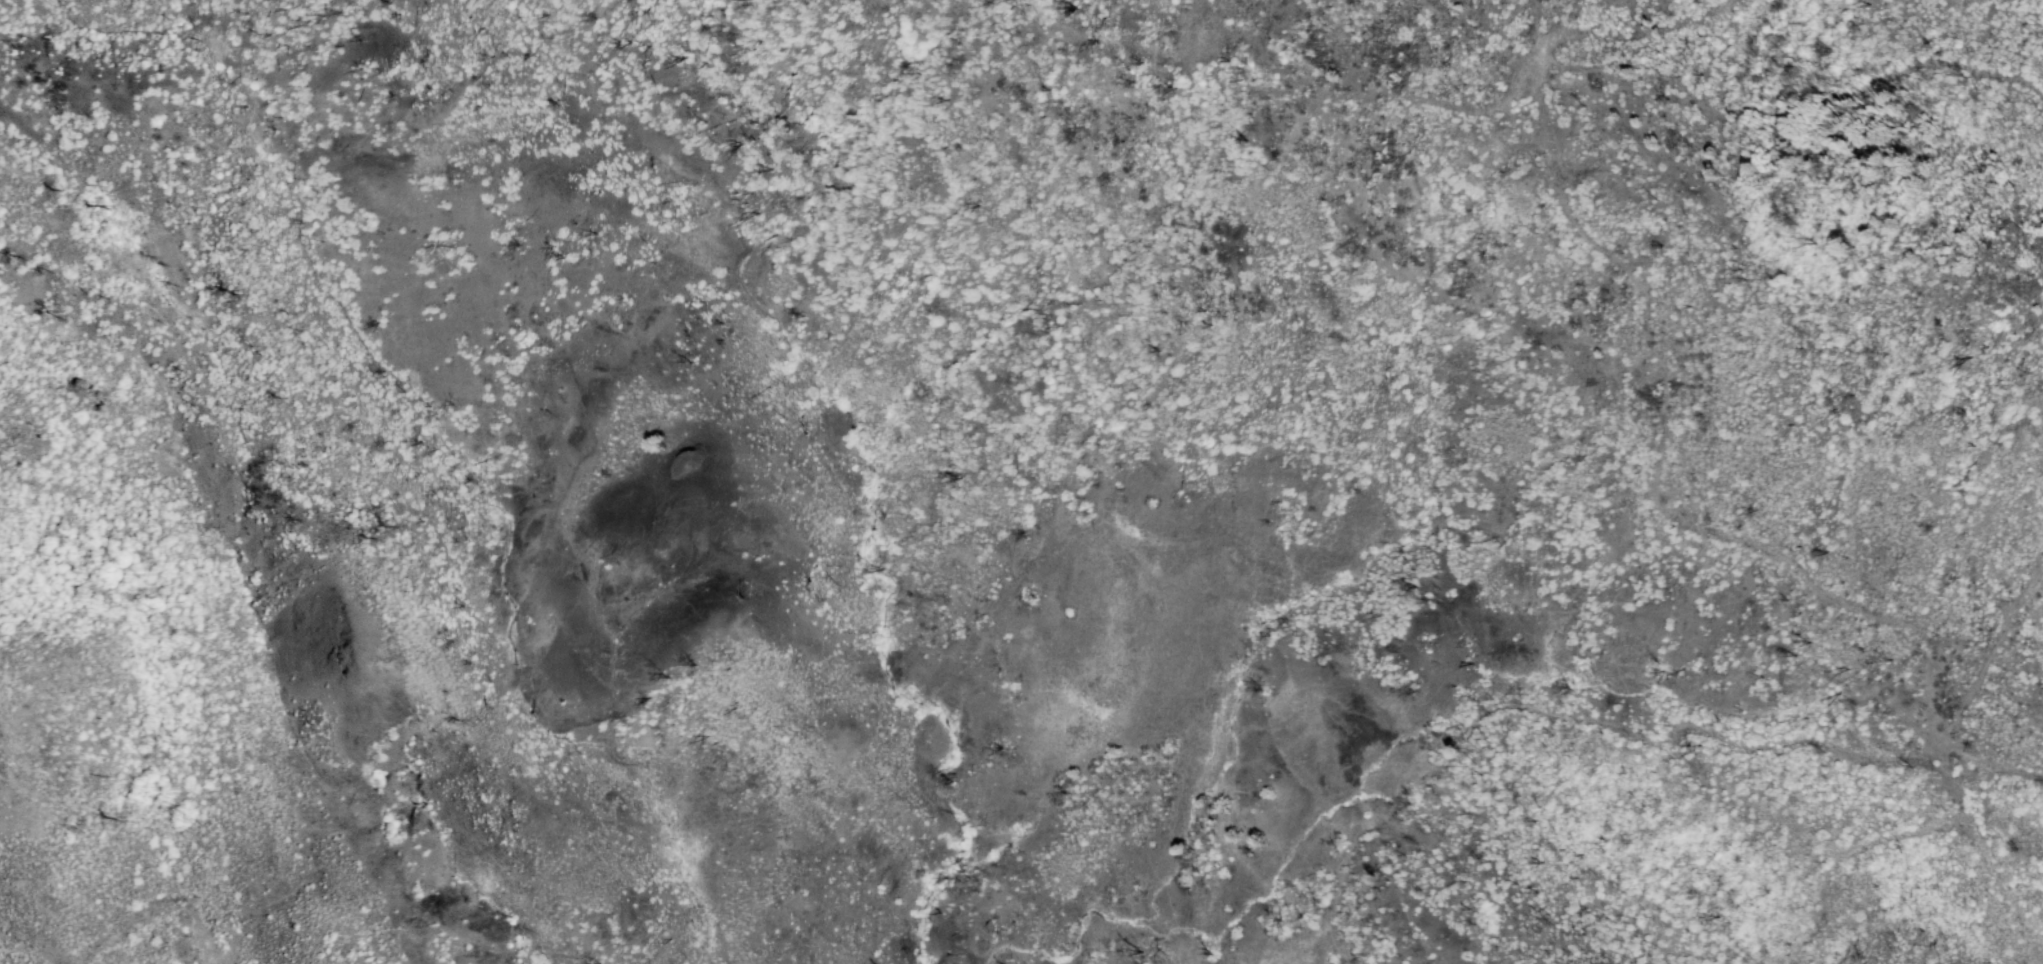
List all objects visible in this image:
road: (1660, 485)
road: (1670, 728)
road: (158, 909)
road: (27, 947)

